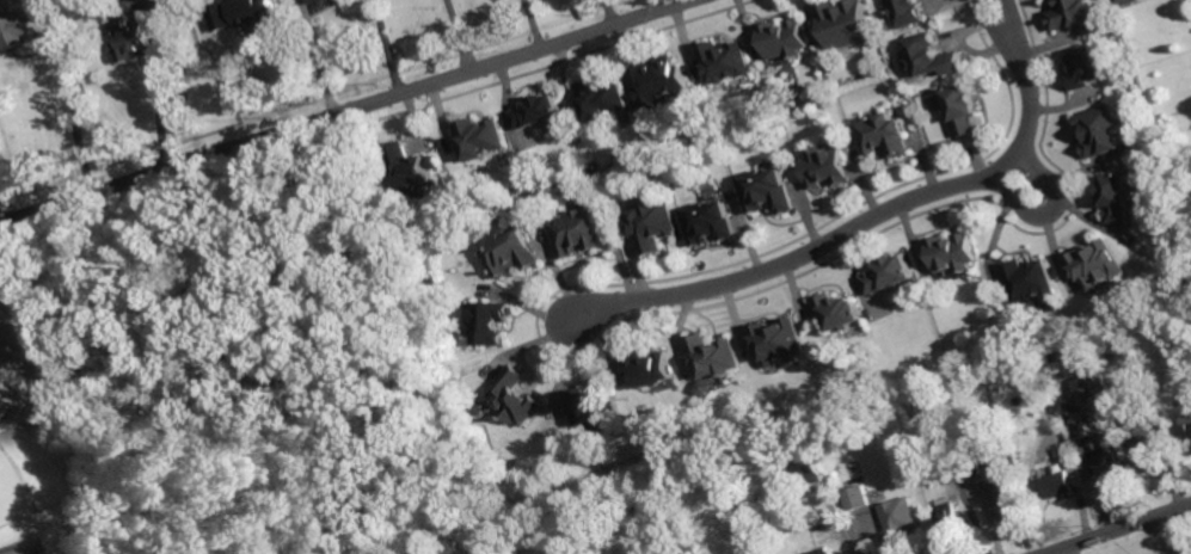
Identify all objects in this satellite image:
road: (679, 0)
building: (315, 1)
building: (1128, 2)
building: (253, 11)
building: (908, 12)
building: (1075, 14)
building: (846, 24)
building: (19, 26)
building: (786, 39)
building: (129, 41)
road: (388, 45)
building: (933, 57)
building: (726, 61)
building: (1087, 67)
building: (662, 84)
road: (73, 92)
building: (603, 99)
road: (160, 103)
building: (964, 109)
road: (342, 112)
building: (539, 112)
building: (1103, 131)
building: (885, 135)
building: (483, 138)
building: (827, 166)
building: (412, 170)
building: (1181, 180)
building: (769, 191)
building: (1118, 196)
road: (5, 203)
road: (1051, 208)
road: (873, 215)
building: (655, 222)
building: (711, 222)
building: (579, 232)
building: (512, 251)
building: (954, 252)
building: (1098, 265)
building: (889, 273)
building: (1030, 279)
parking lot: (2, 289)
building: (839, 310)
building: (491, 321)
building: (780, 341)
building: (716, 356)
building: (651, 367)
park: (219, 375)
building: (707, 388)
building: (1085, 389)
building: (518, 396)
building: (938, 399)
building: (596, 406)
building: (481, 408)
building: (1146, 411)
building: (1078, 425)
building: (1187, 435)
building: (1144, 455)
building: (809, 469)
building: (1109, 469)
building: (956, 472)
building: (1050, 486)
park: (13, 491)
building: (1001, 492)
building: (857, 498)
building: (950, 519)
building: (790, 525)
building: (898, 527)
road: (1119, 529)
building: (822, 550)
building: (1190, 553)

